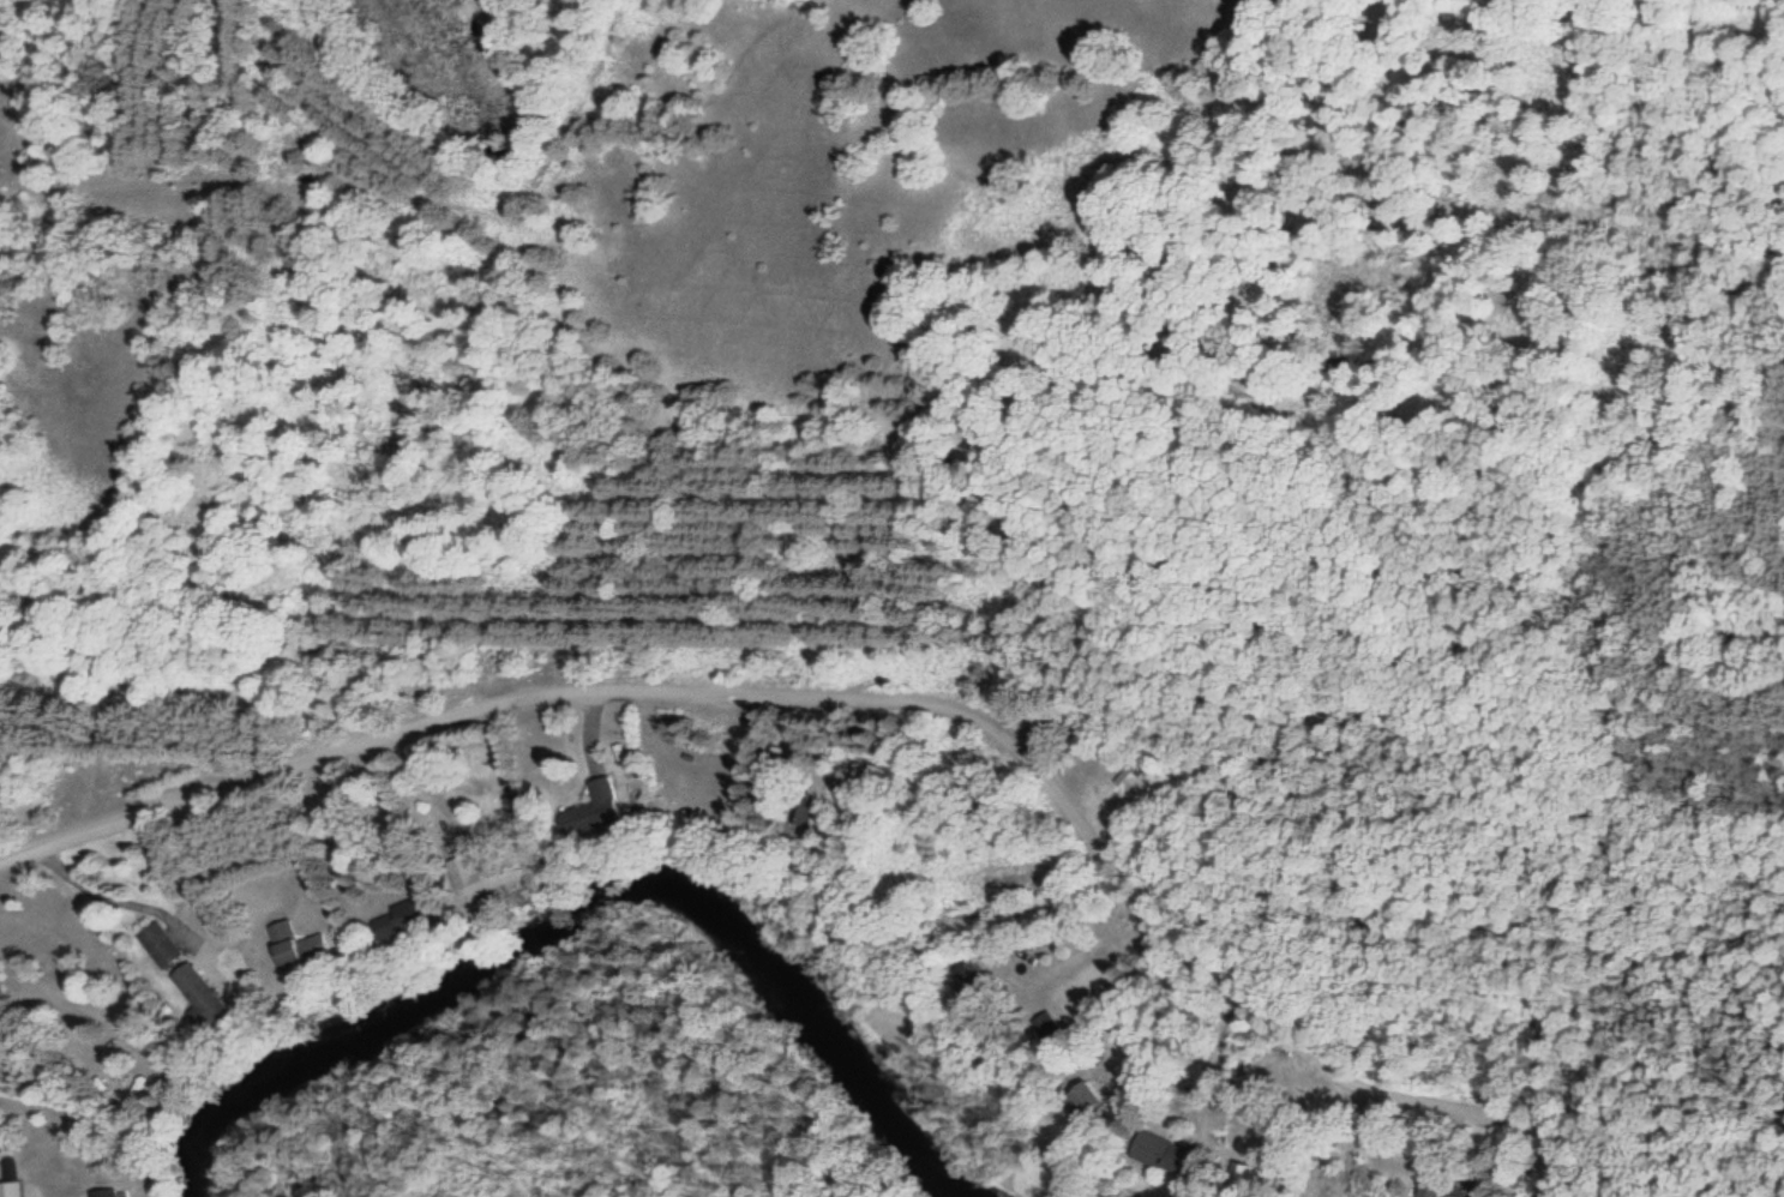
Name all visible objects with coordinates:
road: (893, 703)
building: (587, 812)
building: (805, 814)
building: (487, 873)
building: (402, 920)
building: (158, 945)
building: (293, 945)
river: (599, 945)
building: (191, 985)
building: (1082, 1100)
building: (1159, 1151)
building: (10, 1189)
building: (103, 1193)

